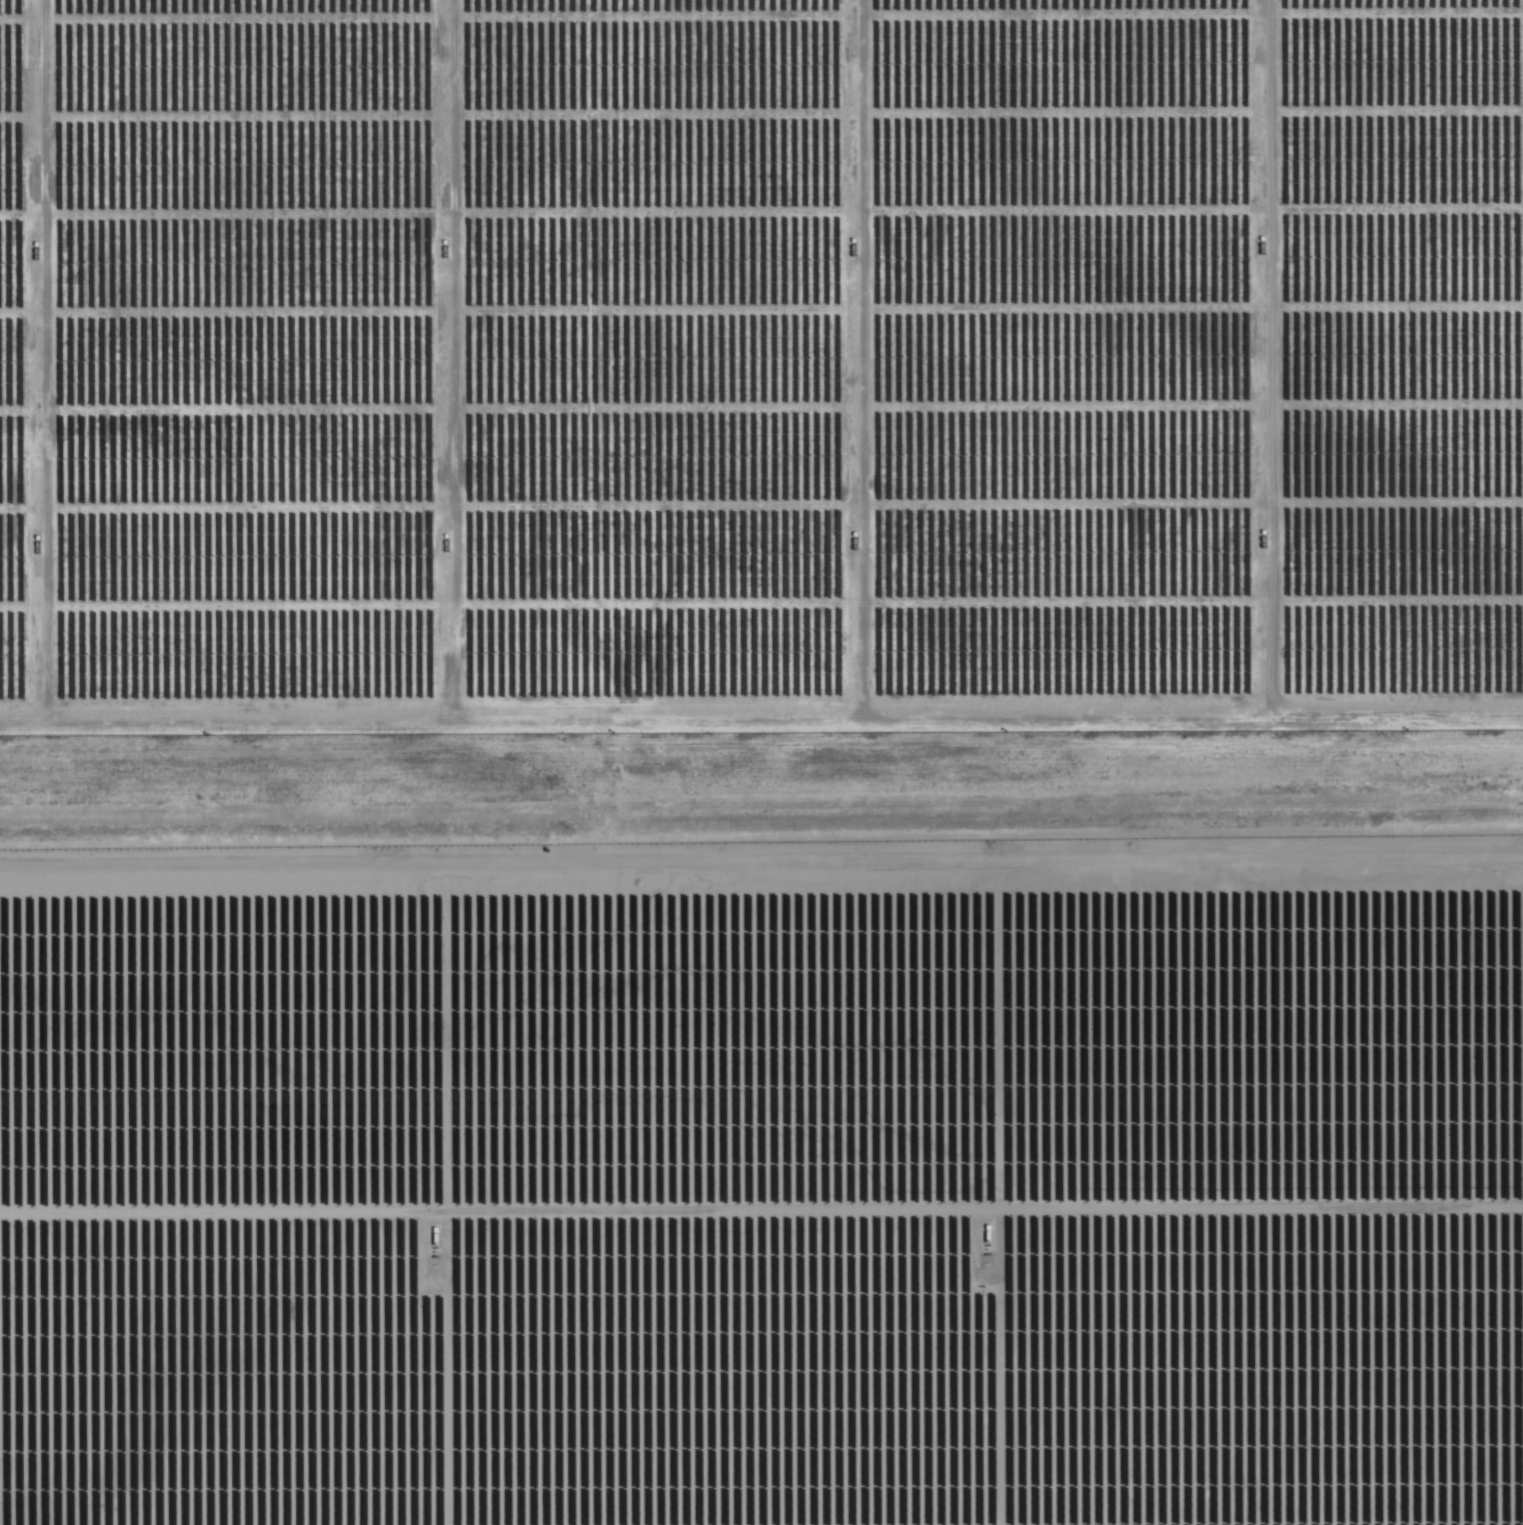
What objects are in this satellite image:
road: (761, 838)
solar farm: (763, 1182)

